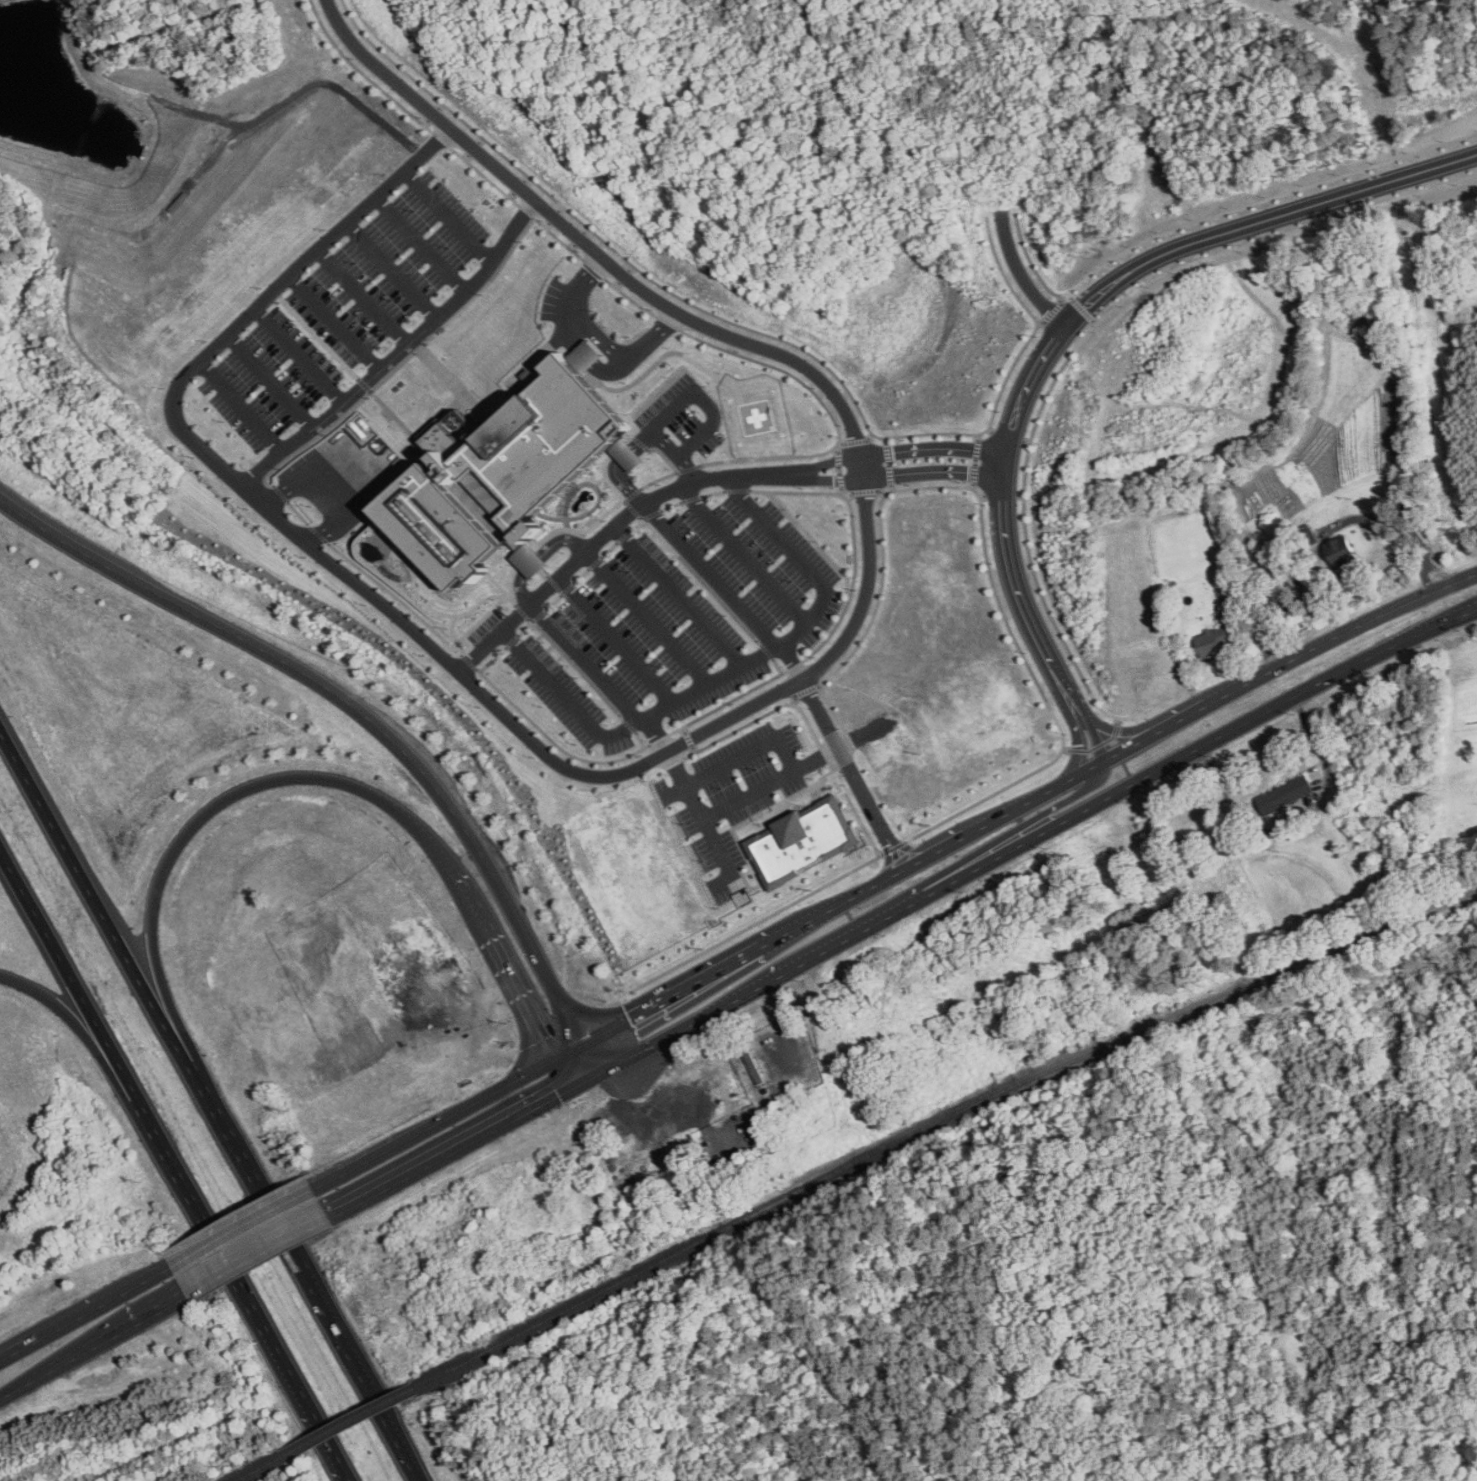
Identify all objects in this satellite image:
road: (431, 143)
road: (447, 216)
road: (417, 245)
road: (391, 269)
road: (1024, 277)
road: (362, 296)
road: (335, 322)
road: (1063, 336)
road: (598, 338)
road: (400, 350)
road: (300, 356)
road: (272, 381)
road: (678, 403)
road: (243, 405)
helipad: (754, 417)
road: (614, 465)
building: (500, 474)
road: (697, 480)
road: (321, 494)
road: (1400, 522)
building: (1340, 552)
road: (742, 555)
road: (539, 556)
road: (725, 590)
road: (679, 596)
road: (647, 618)
road: (615, 641)
building: (1213, 641)
road: (1289, 662)
road: (725, 674)
road: (599, 677)
road: (353, 708)
road: (747, 753)
road: (1201, 772)
road: (852, 775)
building: (1286, 795)
road: (737, 801)
road: (1309, 816)
road: (182, 839)
road: (1030, 840)
building: (803, 843)
road: (726, 858)
road: (946, 873)
road: (843, 902)
road: (475, 908)
road: (114, 939)
road: (523, 1001)
road: (92, 1018)
traffic signals: (581, 1046)
road: (568, 1053)
traffic signals: (555, 1060)
road: (585, 1063)
road: (105, 1067)
road: (572, 1070)
traffic signals: (589, 1080)
road: (435, 1125)
railway: (940, 1126)
road: (459, 1150)
road: (243, 1229)
road: (259, 1258)
road: (245, 1294)
road: (160, 1312)
road: (322, 1313)
road: (86, 1314)
road: (81, 1355)
road: (15, 1391)
railway: (348, 1422)
road: (327, 1441)
railway: (258, 1468)

